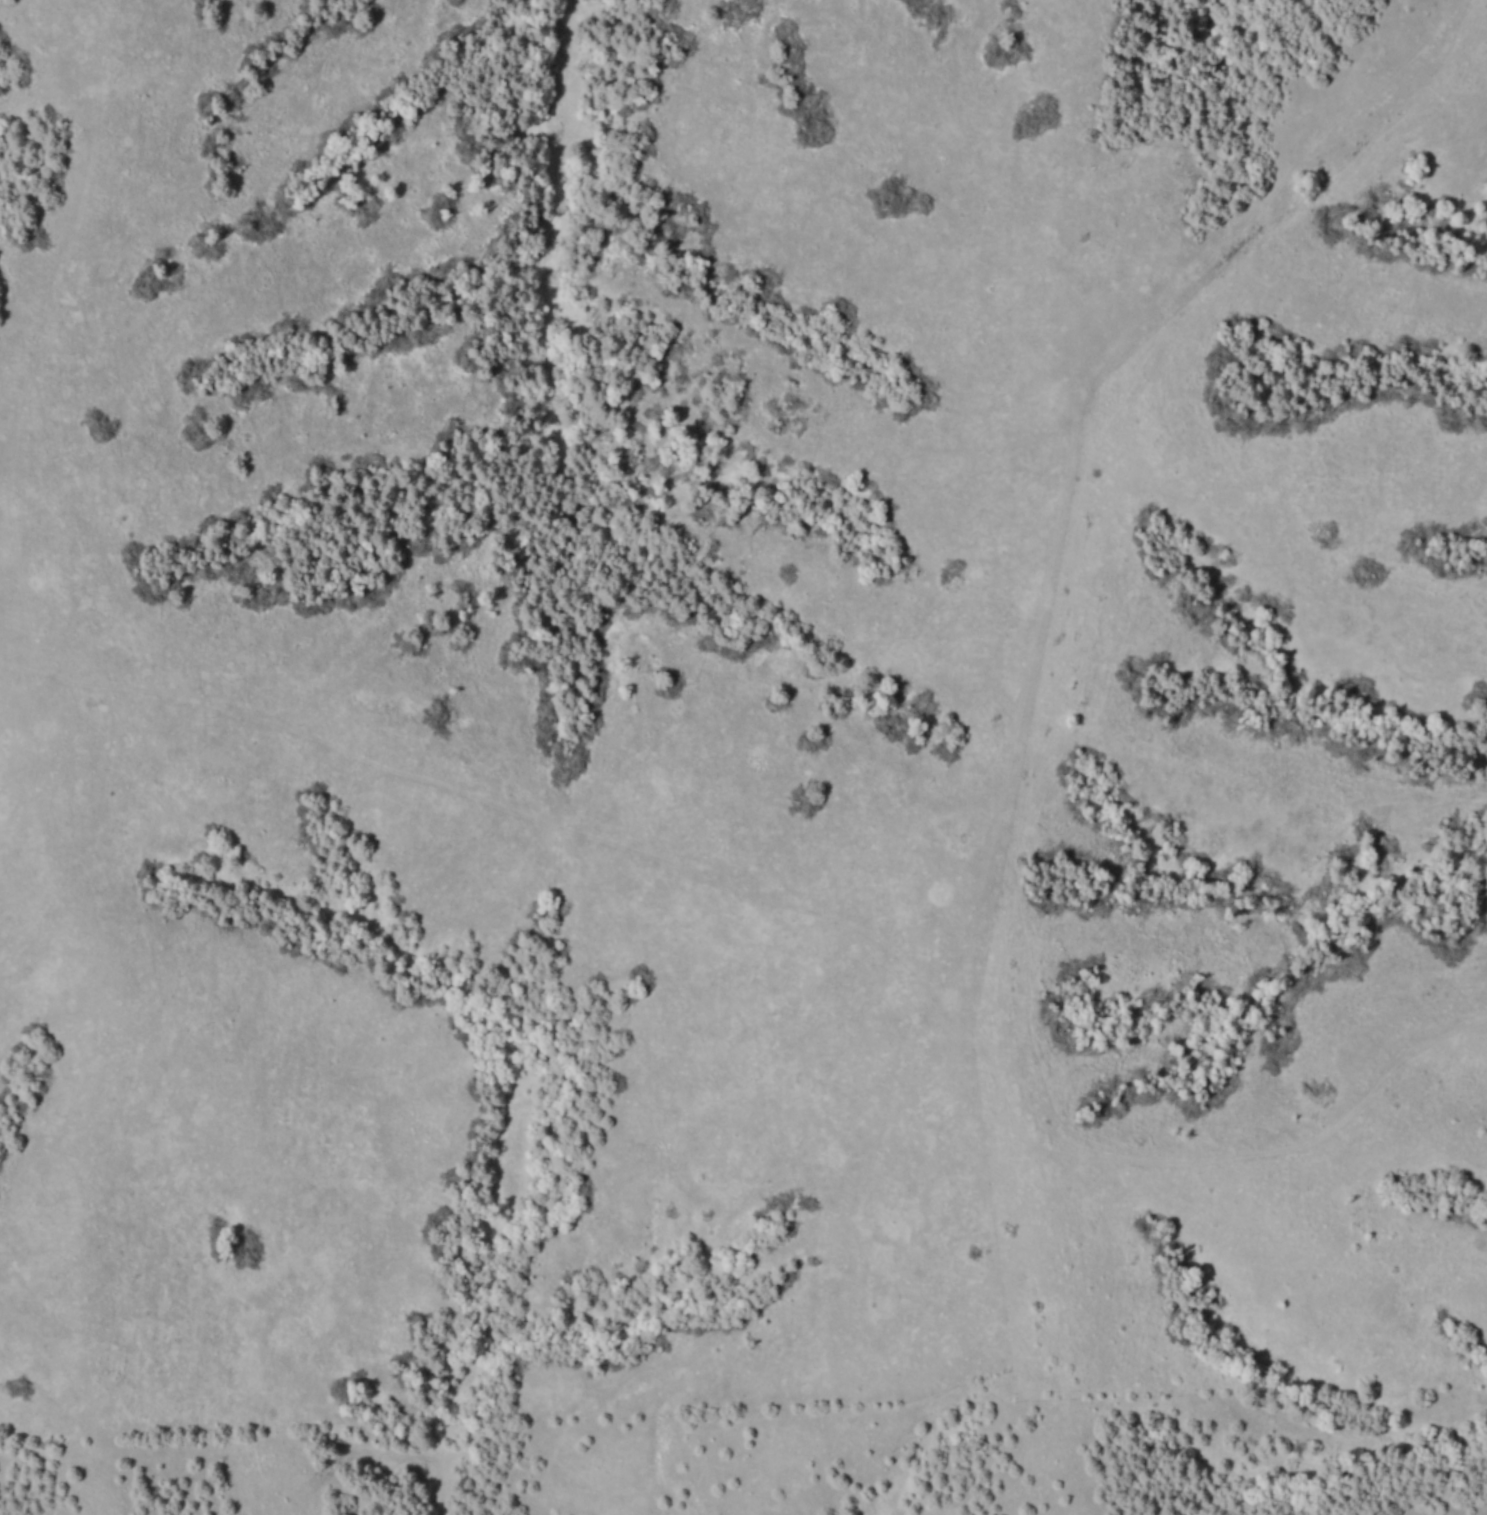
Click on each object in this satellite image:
crop: (822, 1469)

